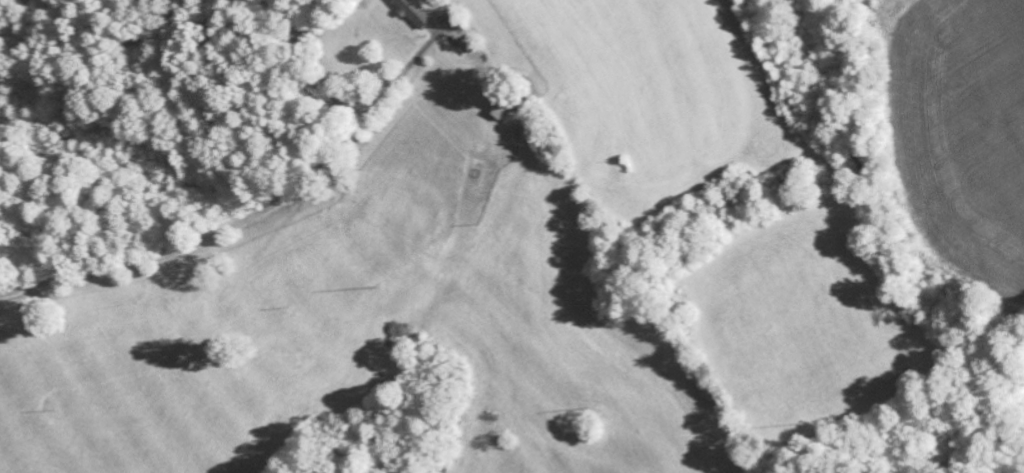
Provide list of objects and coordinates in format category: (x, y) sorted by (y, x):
building: (413, 14)
building: (505, 113)

